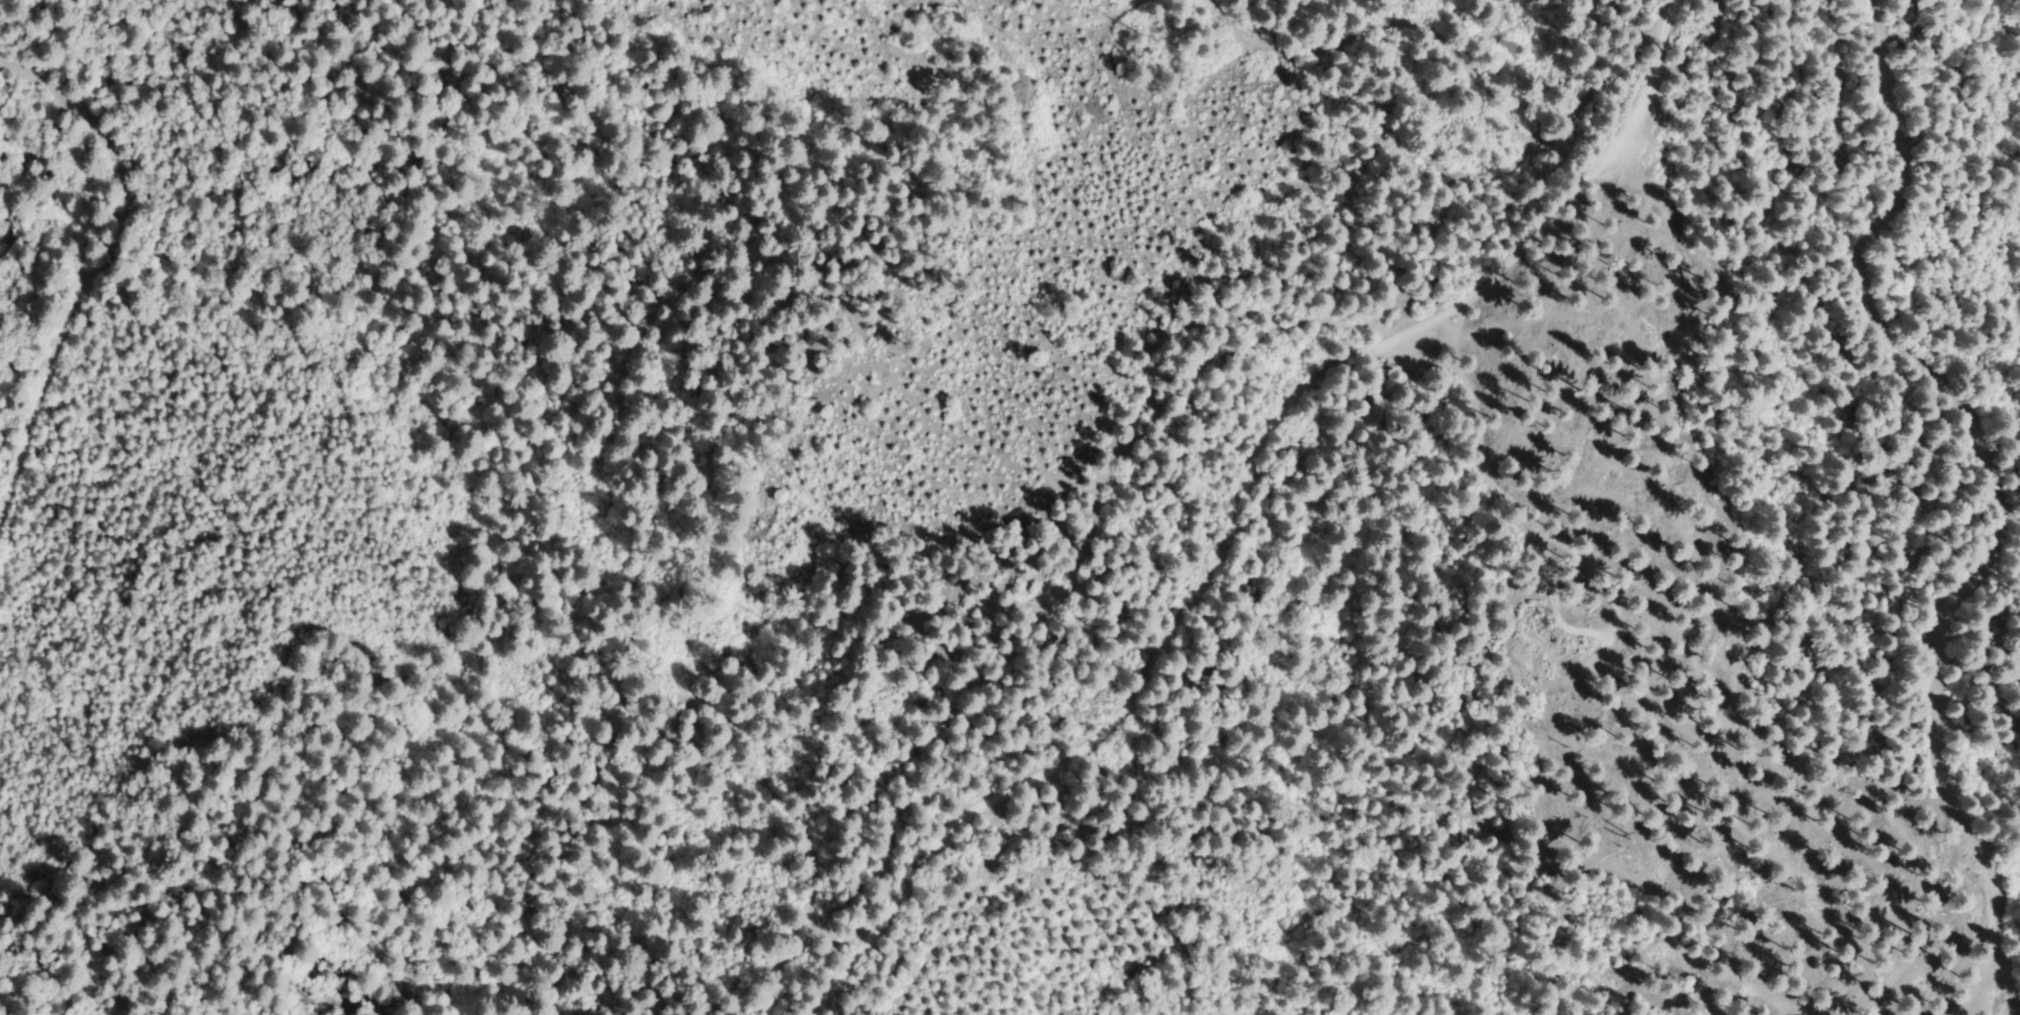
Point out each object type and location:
road: (98, 257)
road: (2006, 489)
road: (1242, 498)

